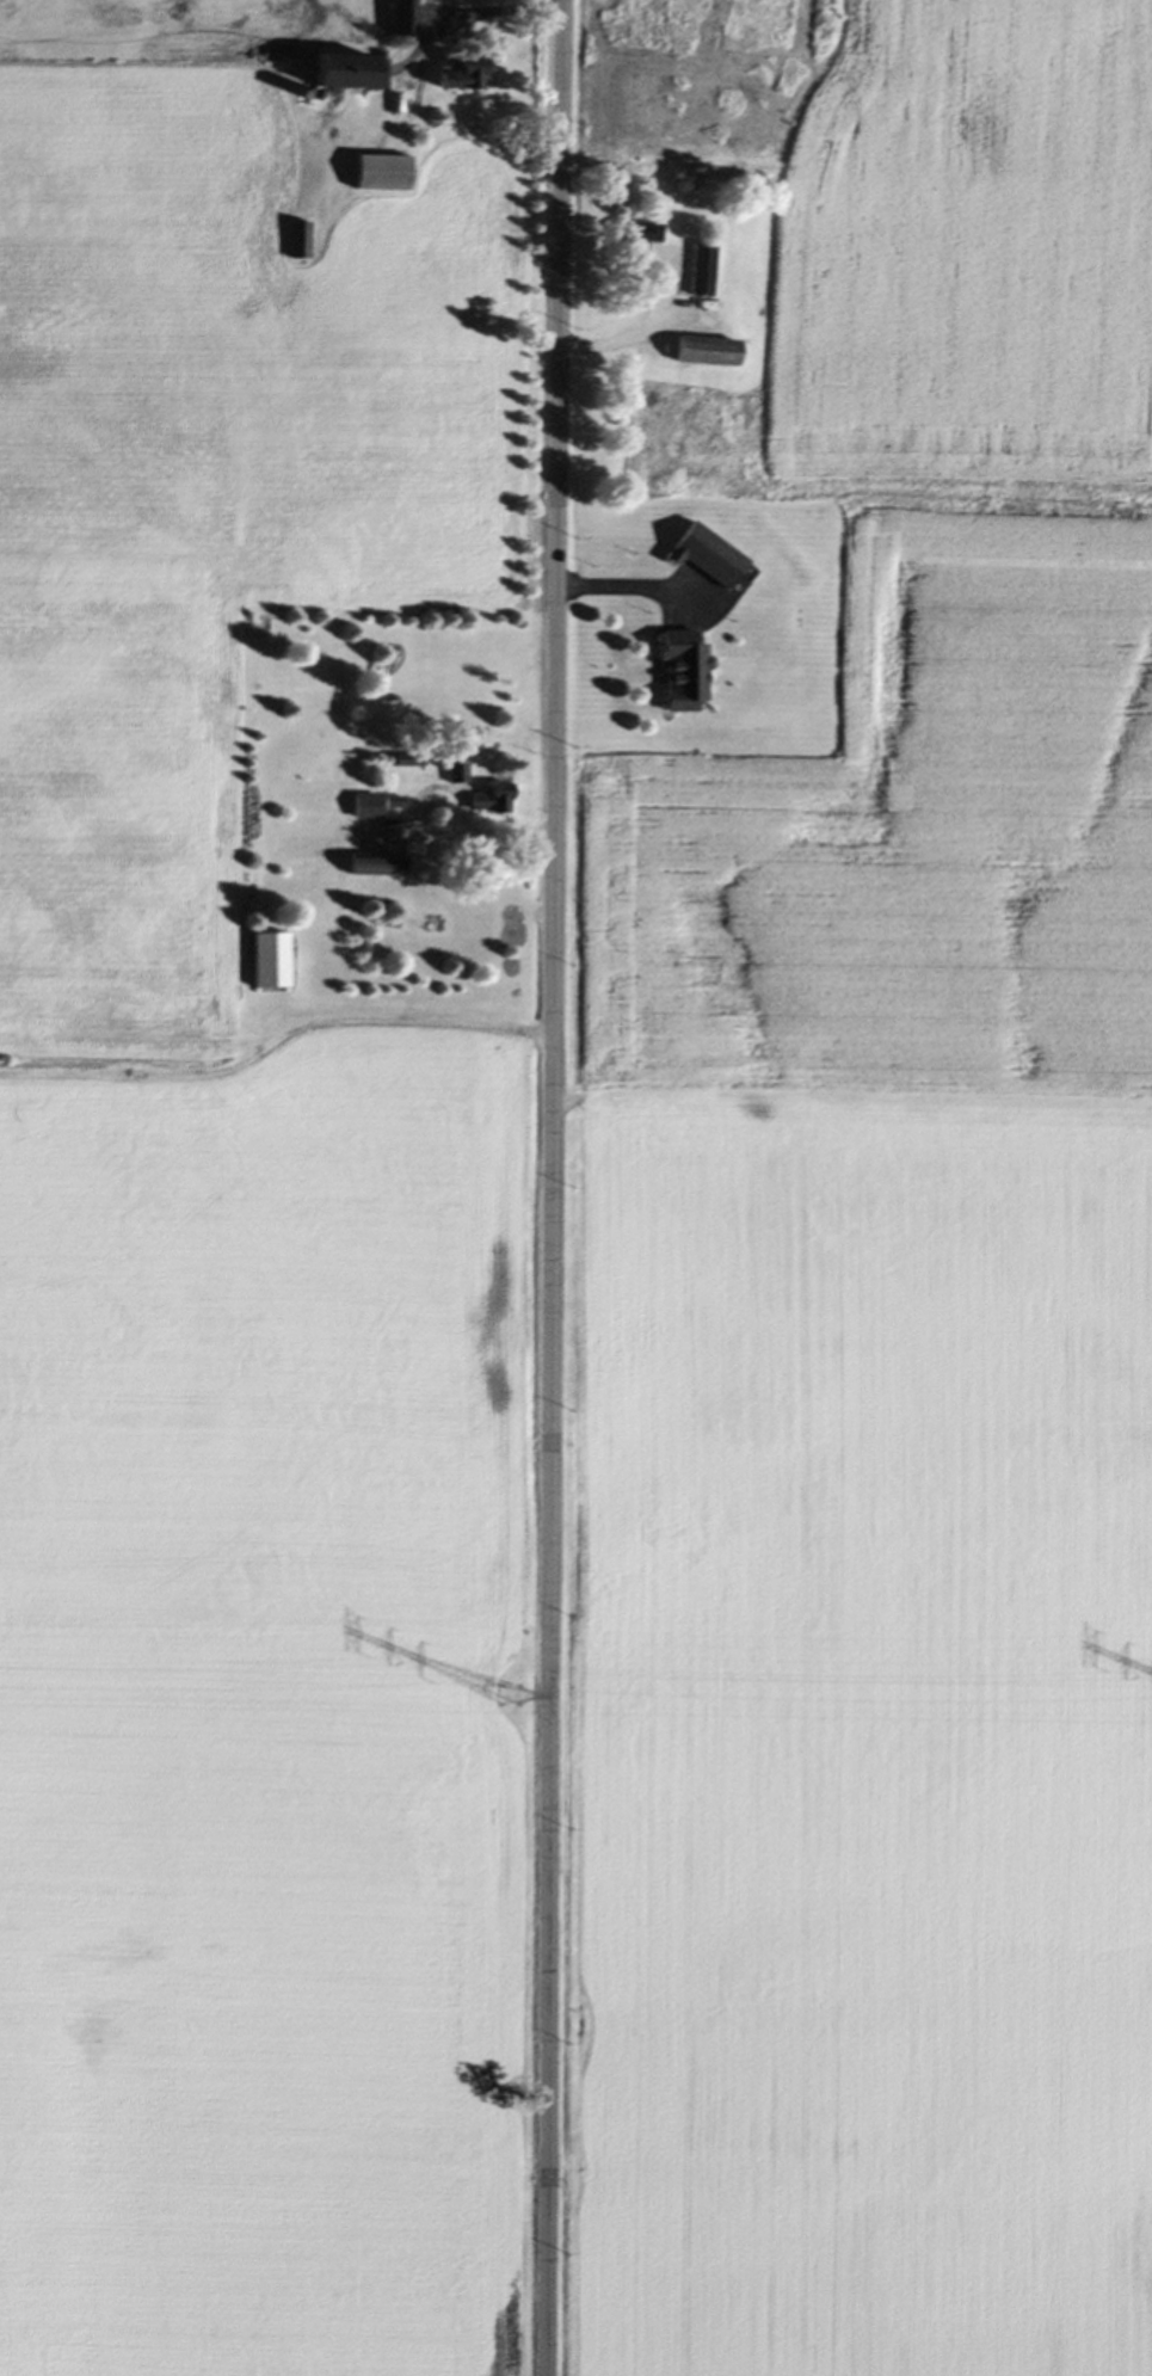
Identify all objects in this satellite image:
road: (489, 10)
building: (401, 18)
building: (338, 72)
building: (460, 75)
building: (378, 173)
building: (635, 239)
building: (298, 240)
building: (698, 270)
road: (624, 337)
building: (701, 351)
building: (698, 556)
road: (630, 584)
building: (676, 671)
building: (452, 774)
building: (486, 801)
building: (388, 802)
building: (362, 807)
road: (419, 837)
building: (370, 866)
building: (266, 961)
road: (556, 1188)
power tower: (506, 1699)

